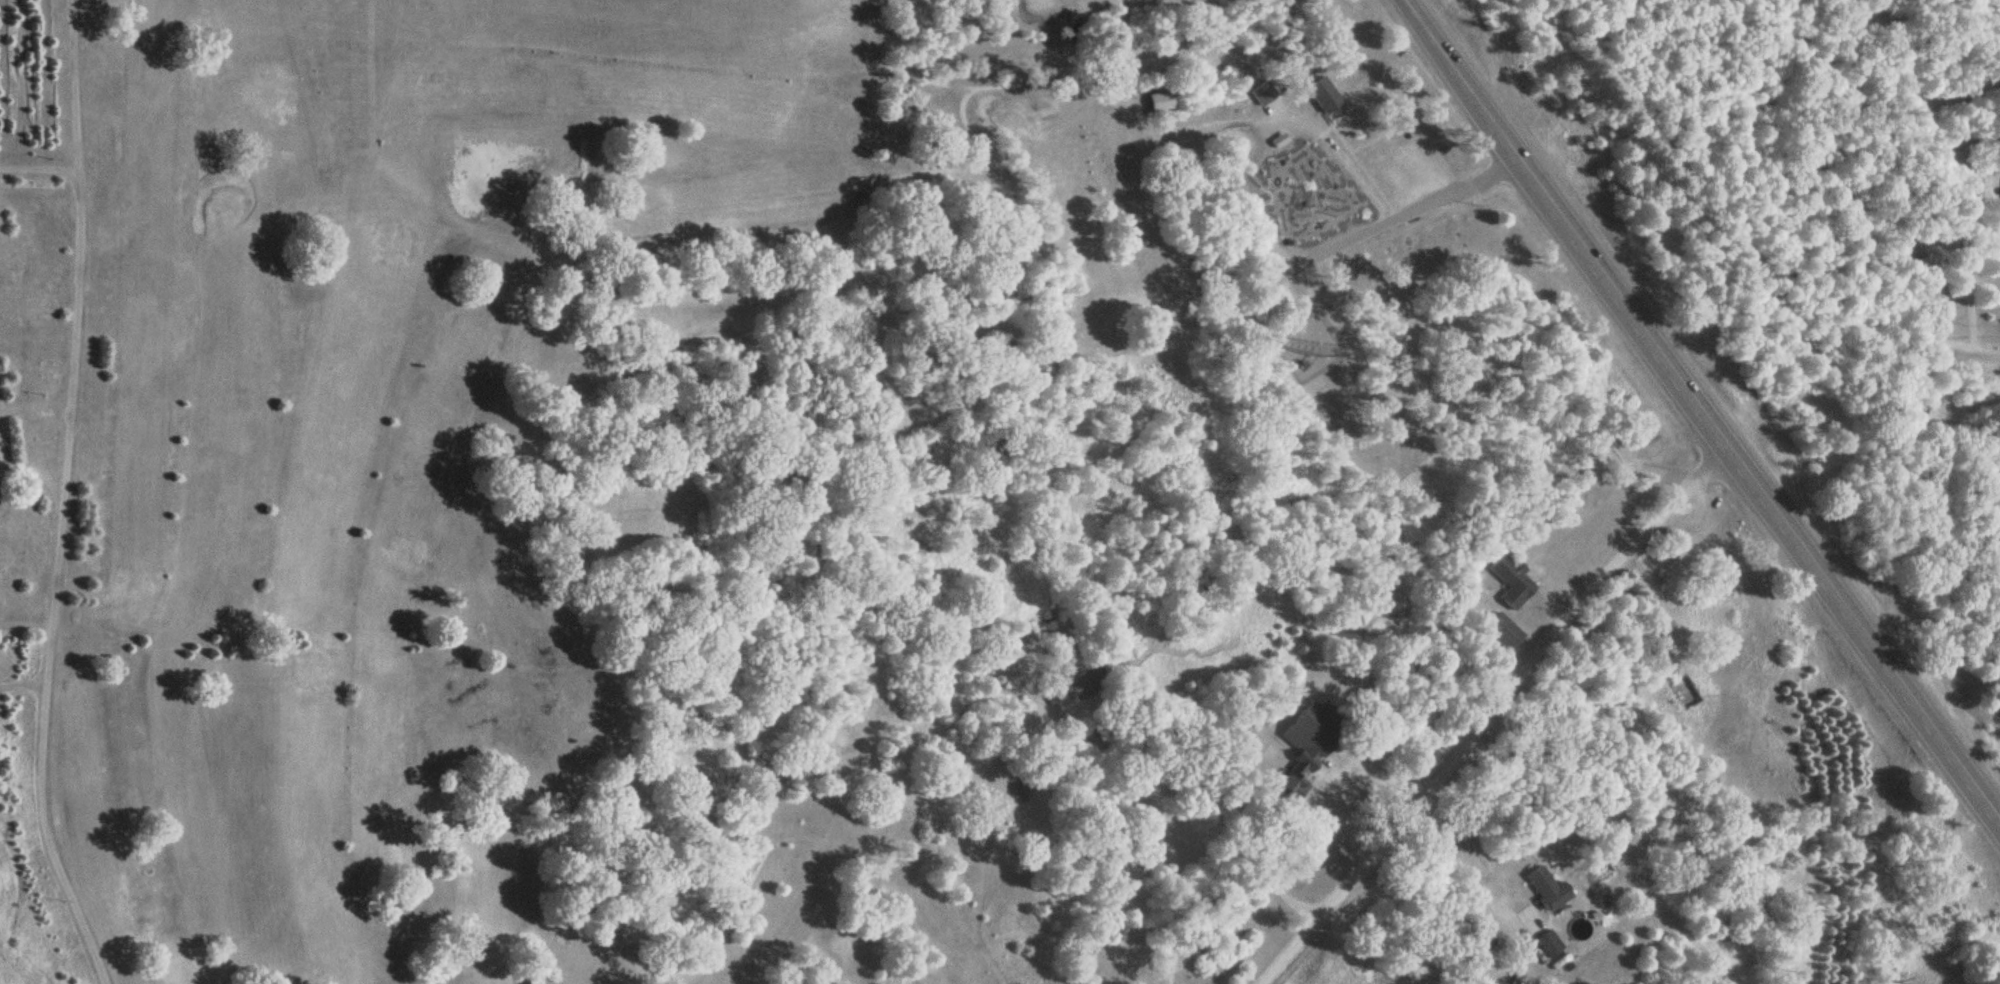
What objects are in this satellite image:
building: (1327, 97)
building: (1162, 100)
road: (39, 172)
road: (1984, 351)
road: (1698, 411)
park: (392, 424)
building: (1998, 462)
road: (62, 497)
building: (1514, 581)
building: (1507, 633)
building: (1680, 692)
road: (1491, 715)
building: (1311, 765)
building: (1547, 888)

